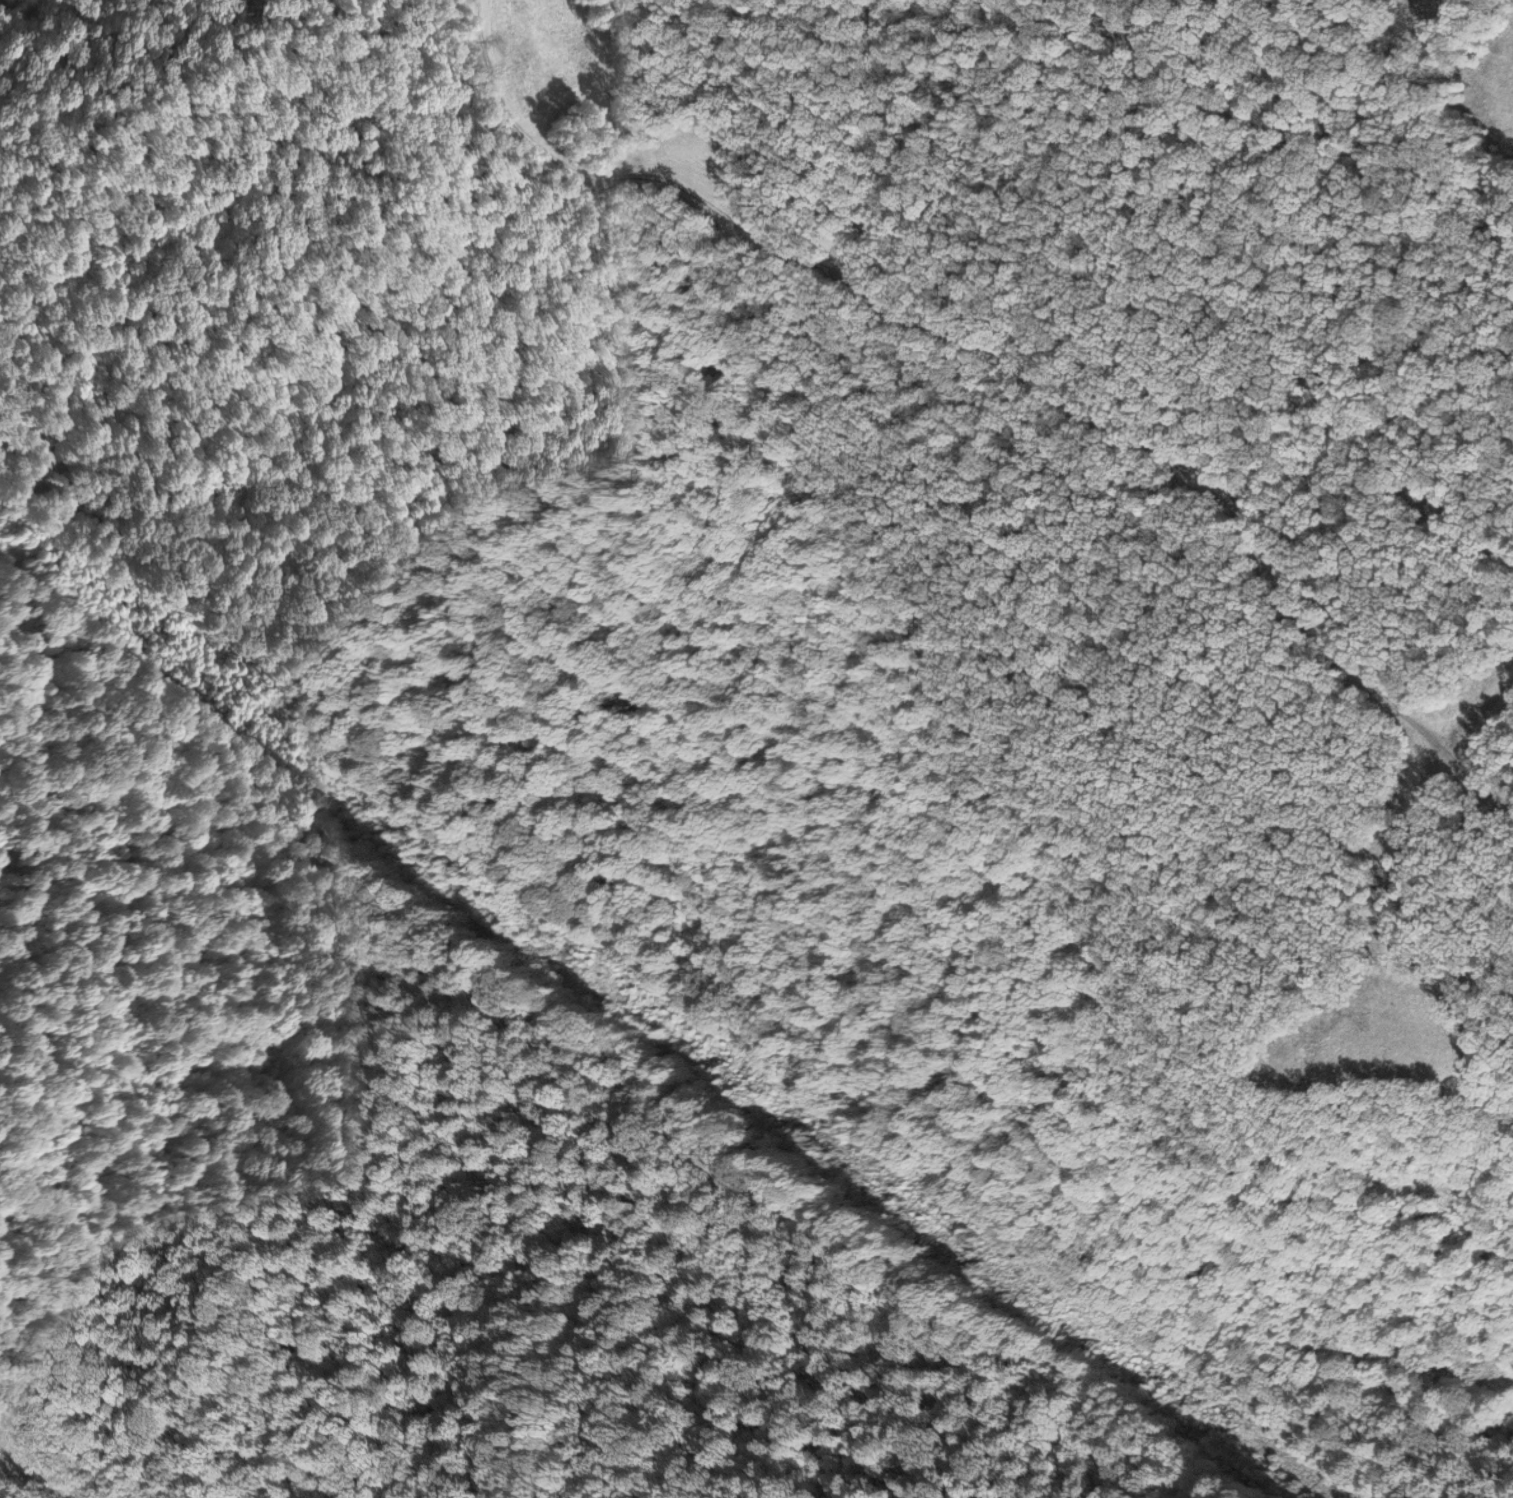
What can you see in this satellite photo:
power tower: (571, 948)
power tower: (972, 1237)
road: (45, 1481)

